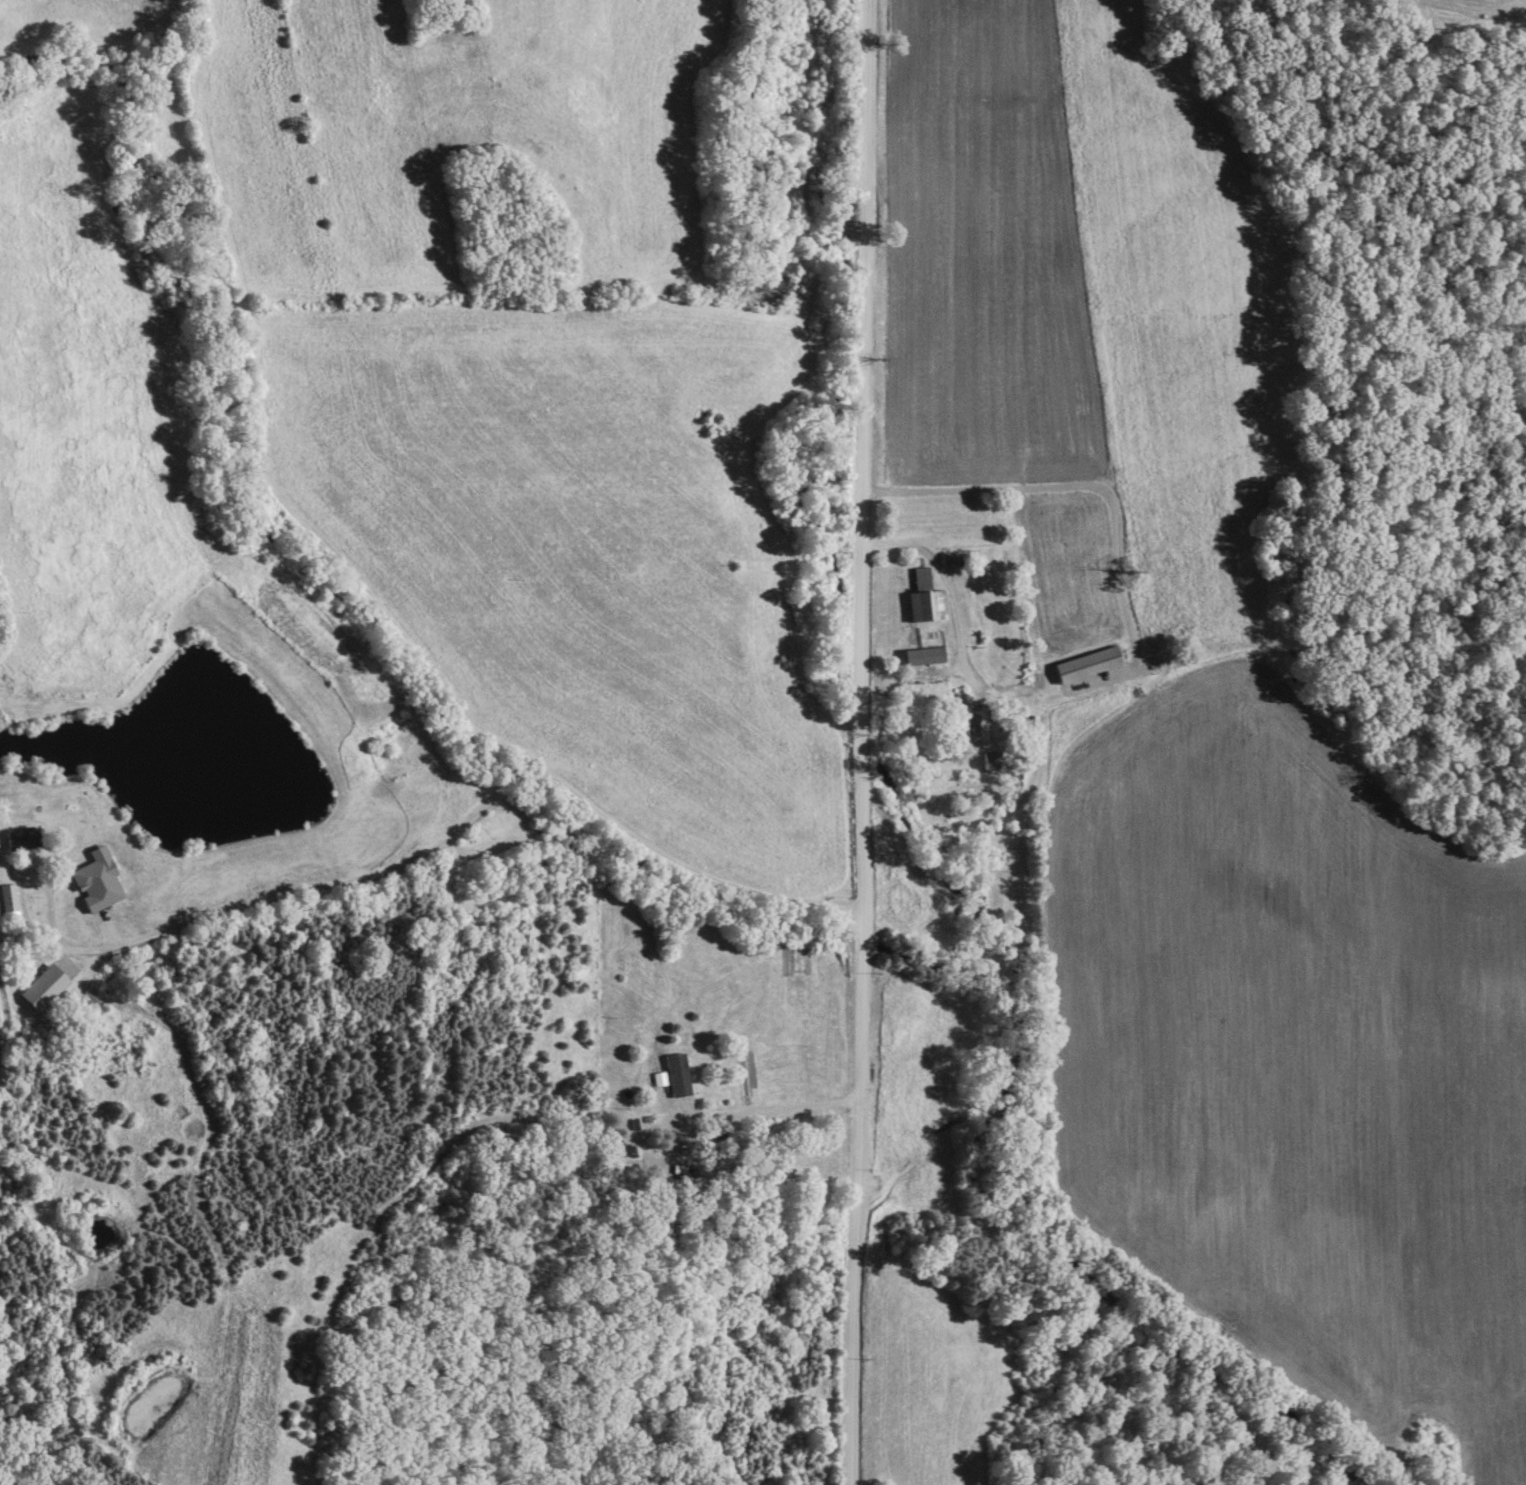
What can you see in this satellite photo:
building: (951, 560)
building: (922, 601)
road: (1133, 647)
building: (919, 658)
building: (1083, 666)
building: (964, 728)
road: (481, 738)
road: (856, 742)
building: (1012, 774)
building: (22, 839)
road: (446, 842)
building: (93, 869)
building: (55, 970)
building: (675, 1078)

